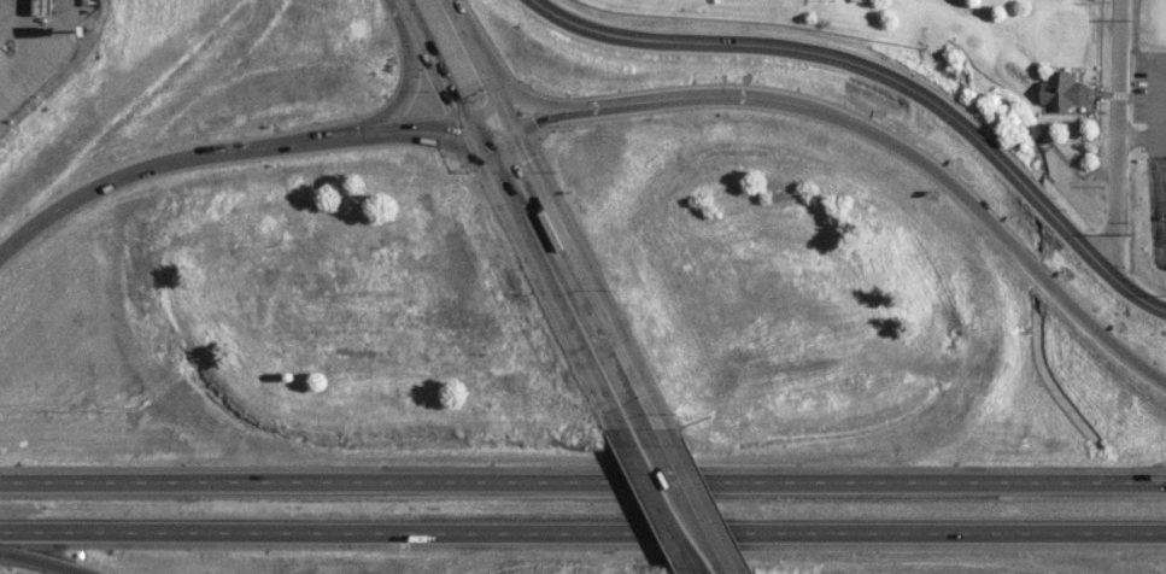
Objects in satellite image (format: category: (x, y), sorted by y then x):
road: (53, 30)
park: (960, 47)
road: (31, 48)
road: (476, 59)
road: (441, 66)
road: (891, 71)
road: (731, 87)
building: (1060, 90)
parking lot: (1164, 95)
road: (546, 105)
traffic signals: (508, 118)
road: (399, 123)
traffic signals: (475, 134)
road: (1115, 134)
park: (1152, 142)
road: (175, 154)
road: (20, 236)
road: (1008, 240)
road: (579, 264)
road: (547, 280)
road: (582, 481)
road: (692, 492)
road: (657, 499)
road: (582, 531)
road: (43, 560)

